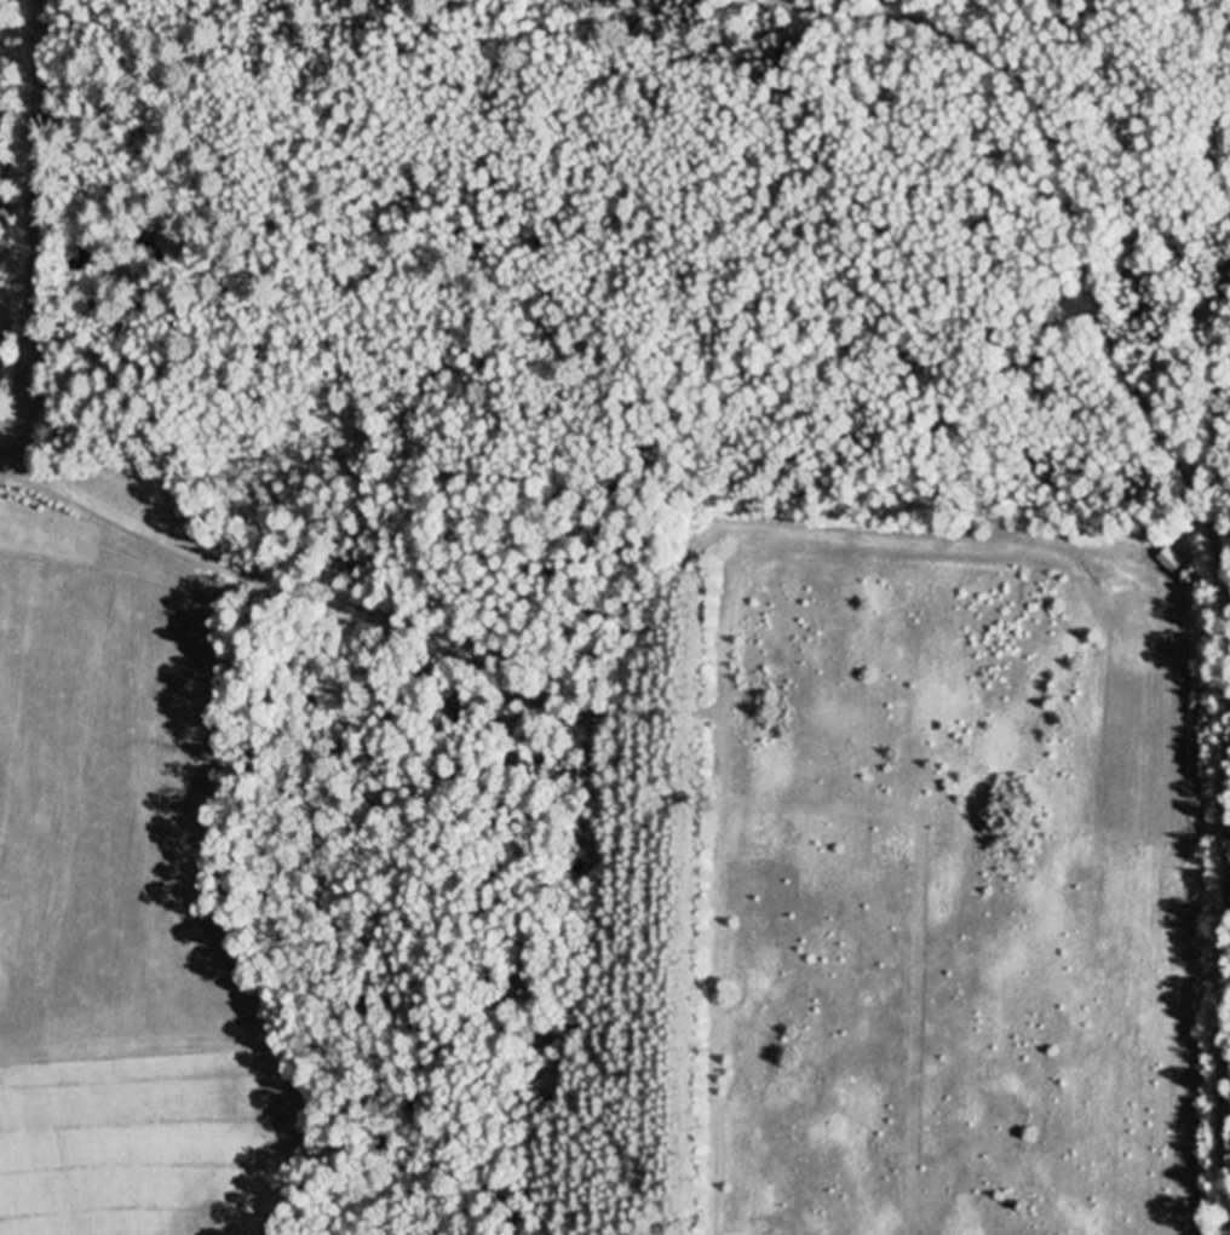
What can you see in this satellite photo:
road: (1076, 153)
road: (35, 242)
road: (1225, 1166)

